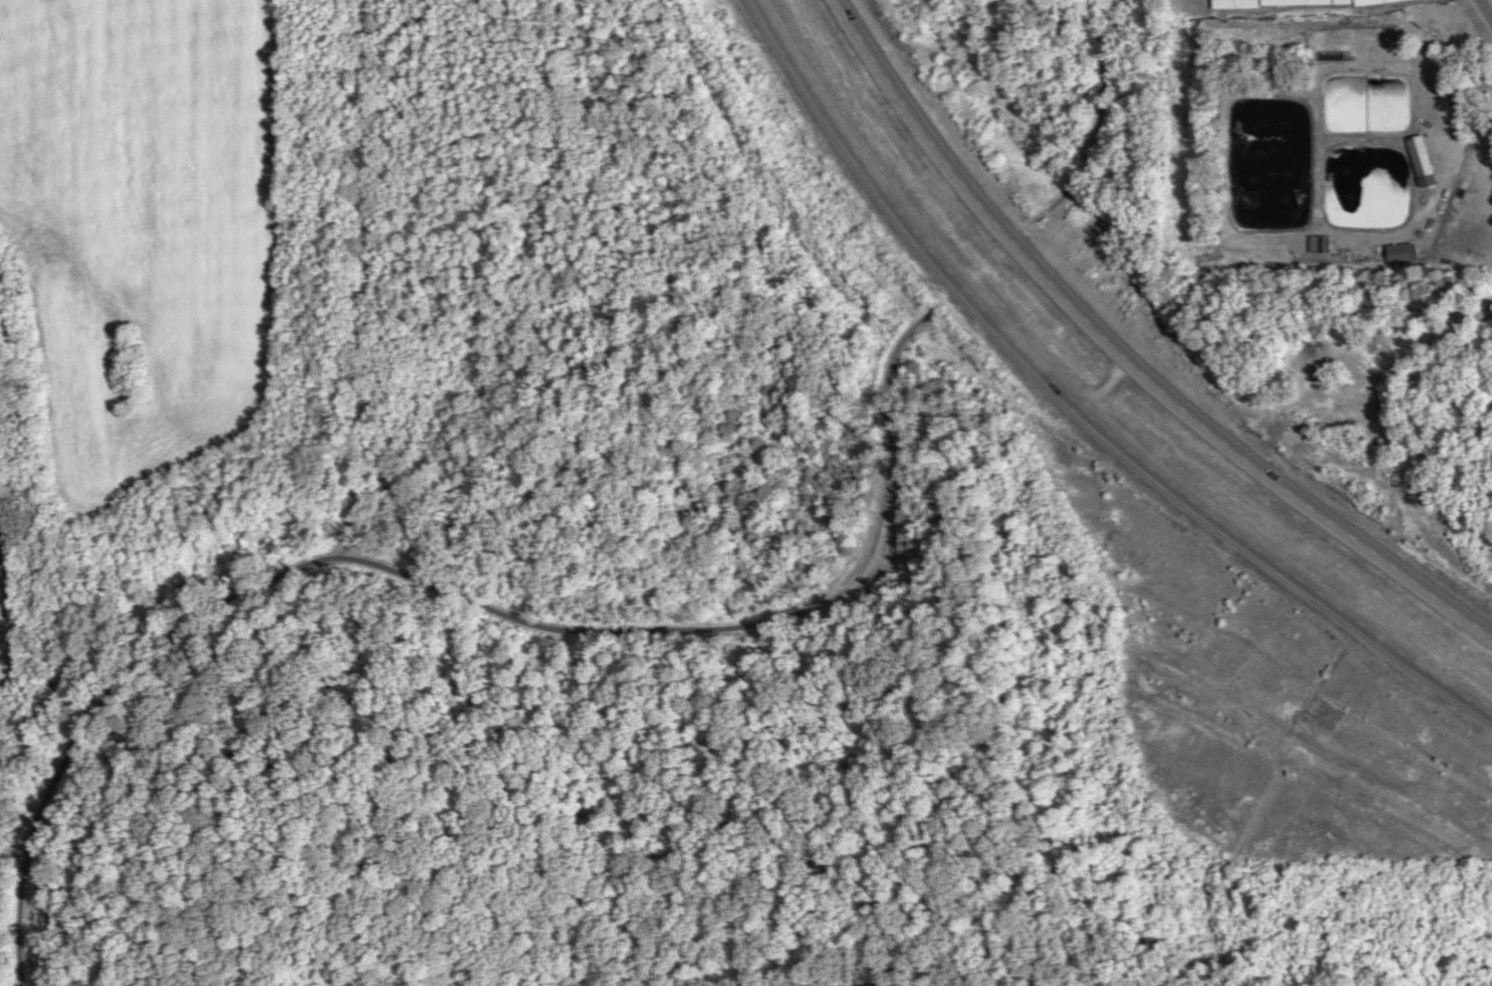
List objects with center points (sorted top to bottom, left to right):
building: (1381, 2)
building: (1236, 3)
road: (1486, 8)
building: (1421, 161)
building: (1397, 254)
road: (1127, 361)
road: (1083, 409)
road: (323, 551)

